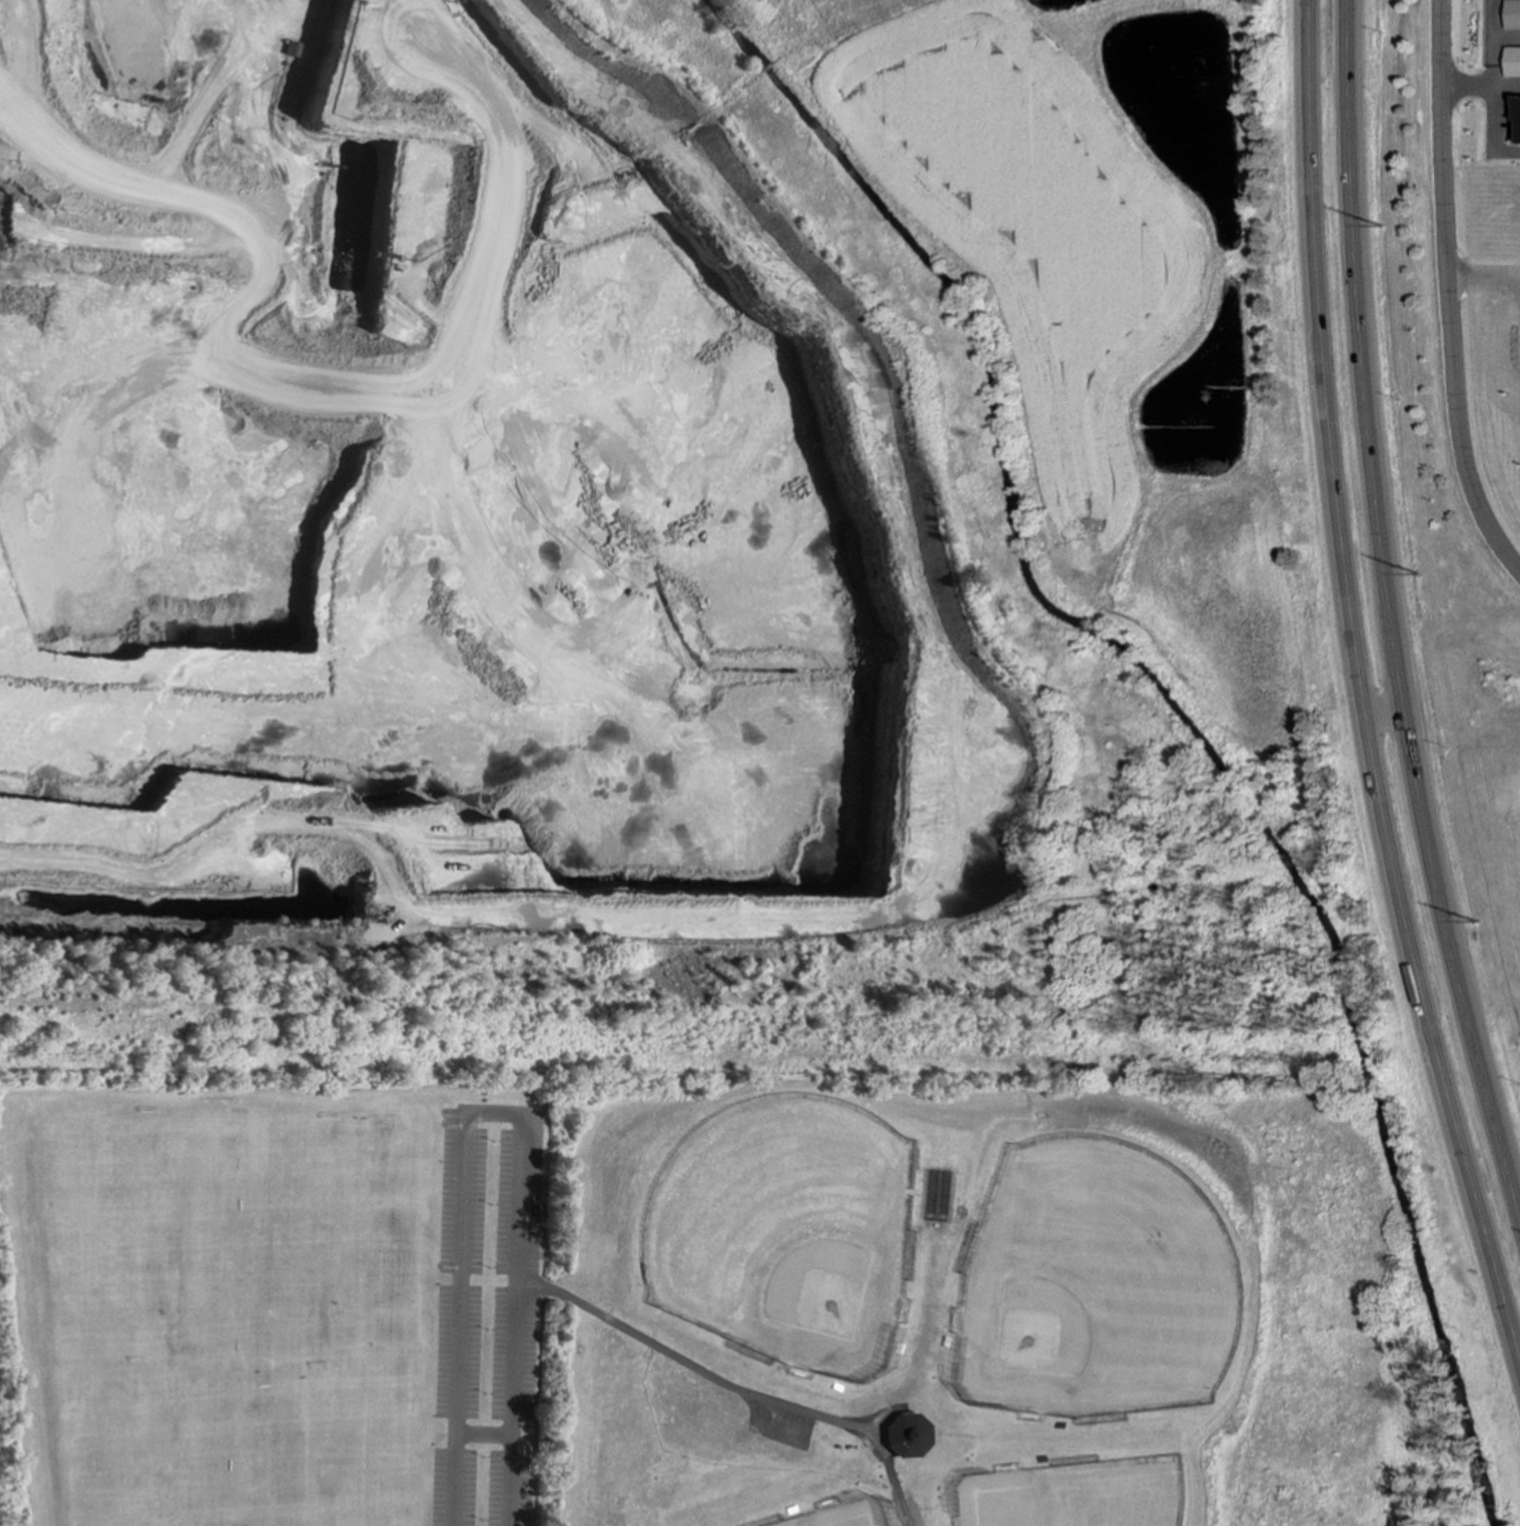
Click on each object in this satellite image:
building: (1512, 14)
road: (1493, 42)
building: (1512, 62)
road: (1466, 85)
road: (1506, 86)
building: (1518, 120)
power tower: (1382, 229)
road: (1483, 275)
road: (1447, 295)
quarry: (668, 538)
power tower: (1418, 578)
road: (1388, 614)
road: (1361, 687)
road: (1385, 713)
power tower: (1478, 926)
road: (492, 1115)
park: (744, 1295)
road: (682, 1364)
road: (484, 1436)
building: (905, 1437)

